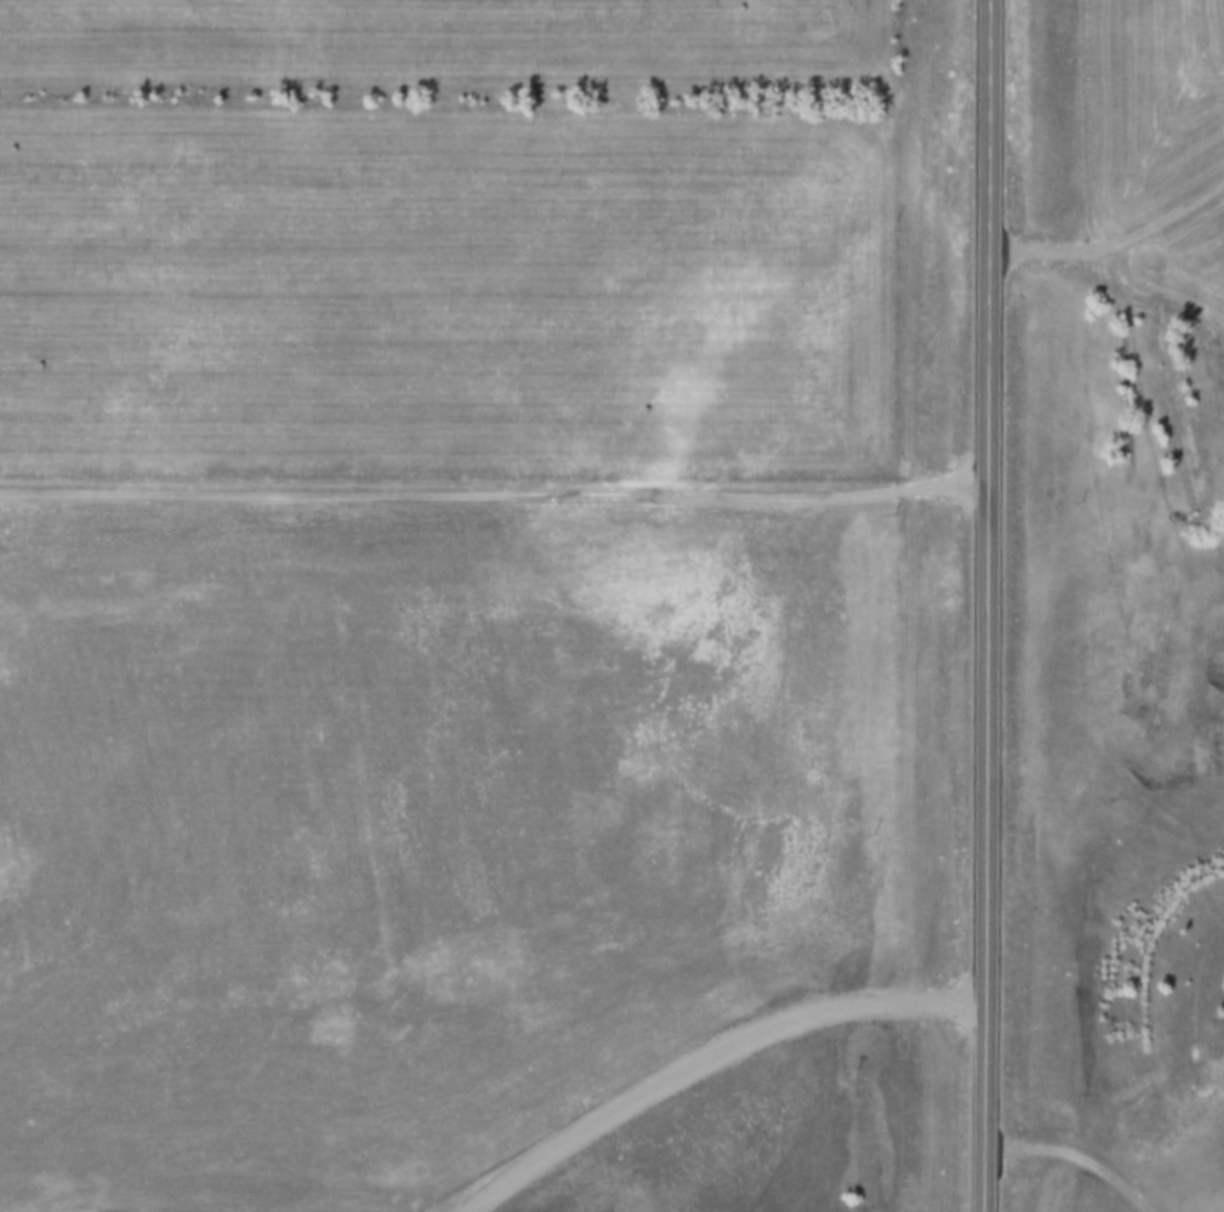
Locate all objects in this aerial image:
road: (1115, 240)
road: (991, 605)
quarry: (432, 836)
road: (1075, 1157)

